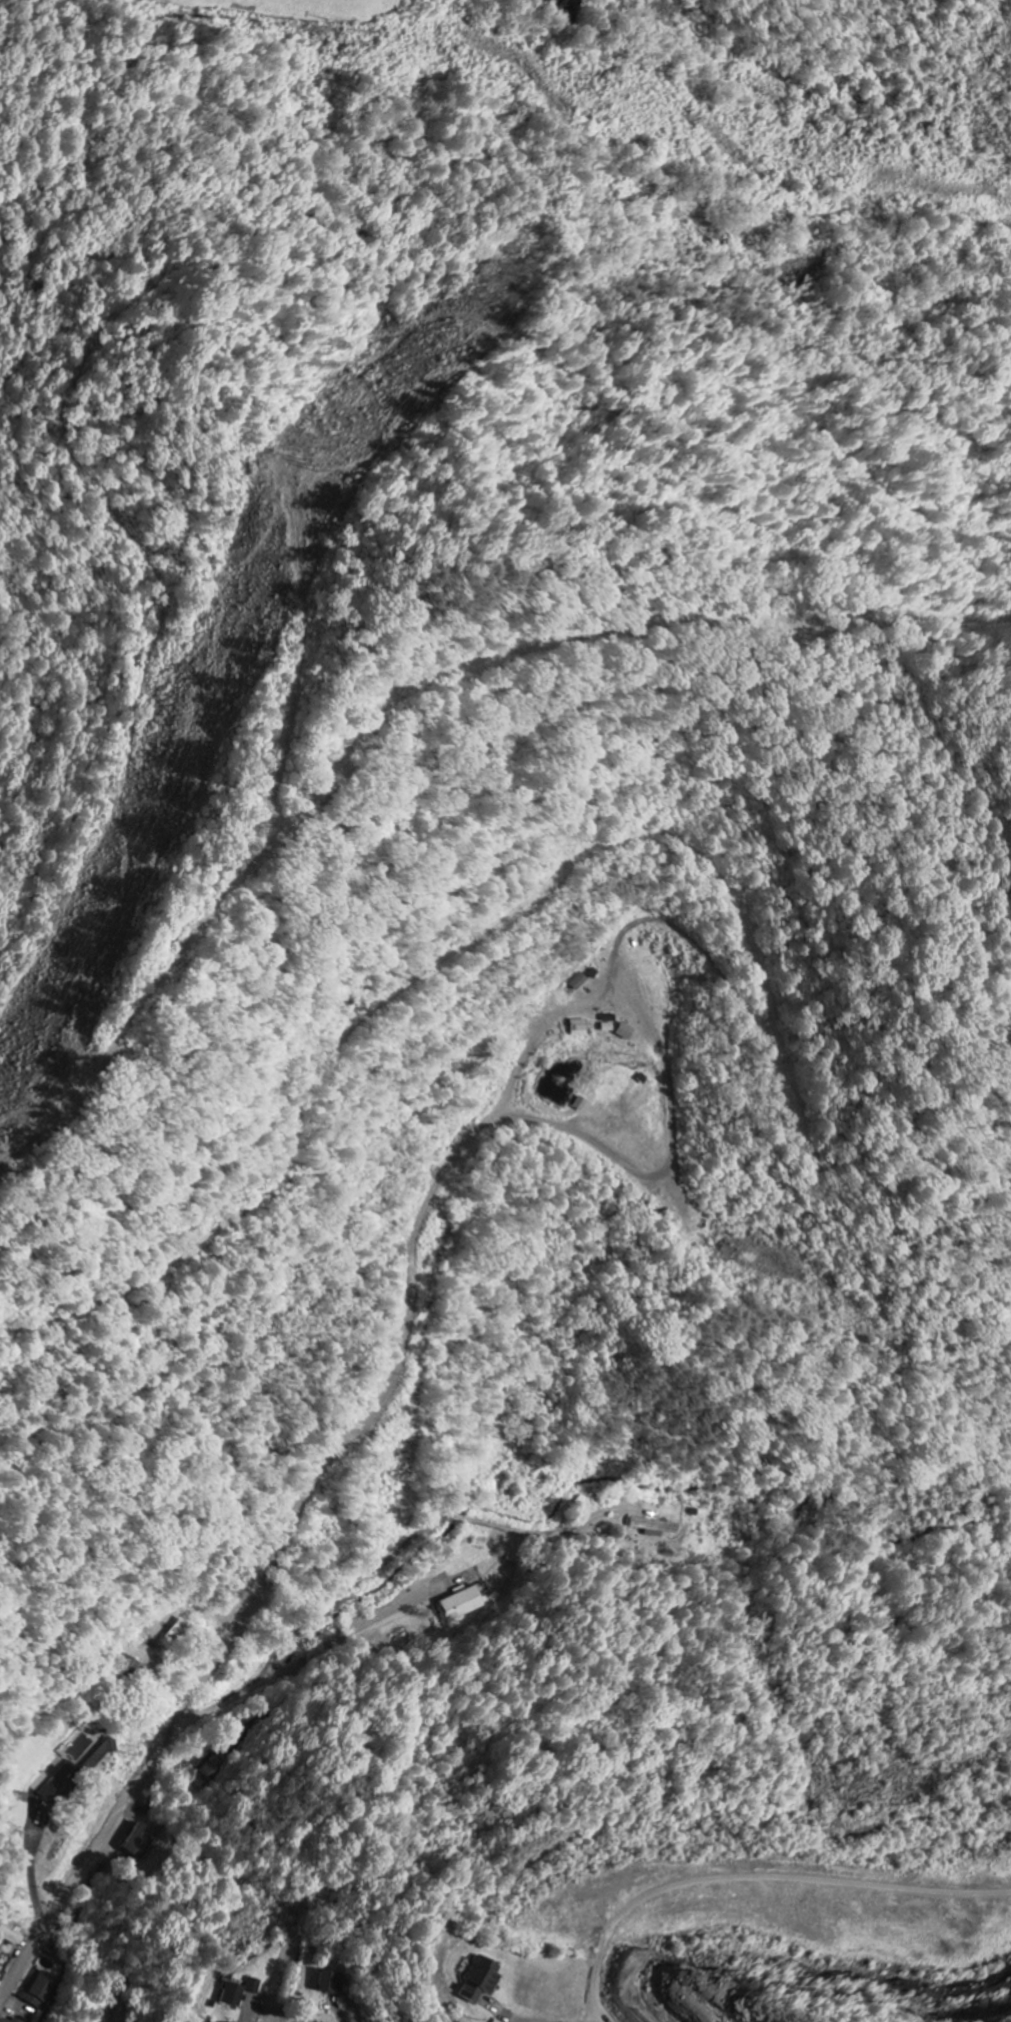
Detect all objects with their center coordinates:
power tower: (319, 468)
building: (580, 983)
building: (580, 1029)
building: (626, 1033)
building: (580, 1105)
building: (656, 1528)
building: (462, 1604)
building: (101, 1755)
road: (154, 1756)
building: (19, 1810)
building: (10, 1937)
building: (481, 1980)
building: (0, 1983)
building: (330, 1983)
building: (40, 1990)
building: (239, 1992)
building: (4, 2020)
building: (15, 2020)
road: (597, 2021)

